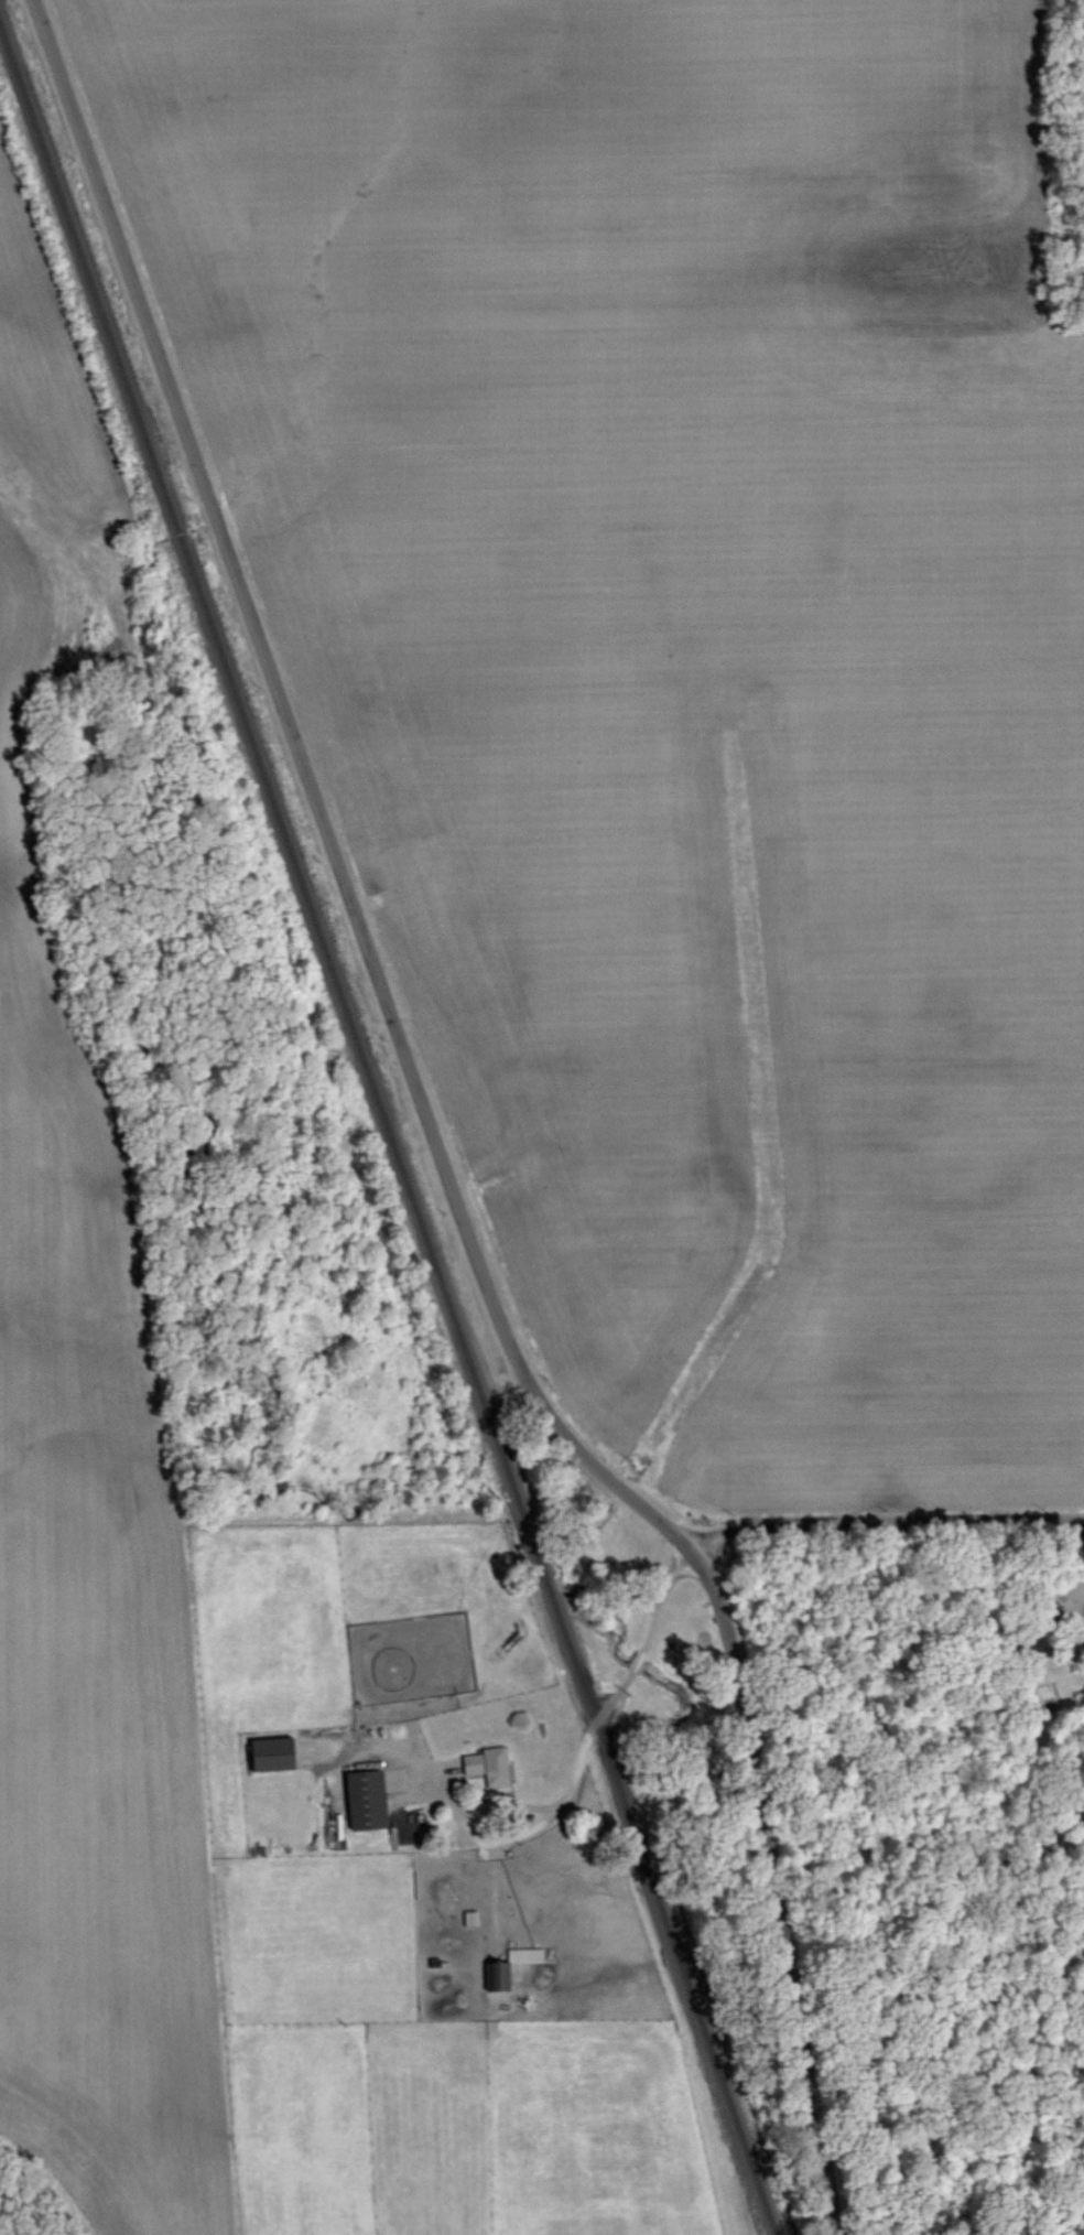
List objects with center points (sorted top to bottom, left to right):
railway: (384, 1133)
road: (434, 1134)
road: (880, 1512)
building: (272, 1753)
building: (489, 1764)
road: (579, 1770)
building: (367, 1799)
building: (525, 1955)
building: (497, 1975)

